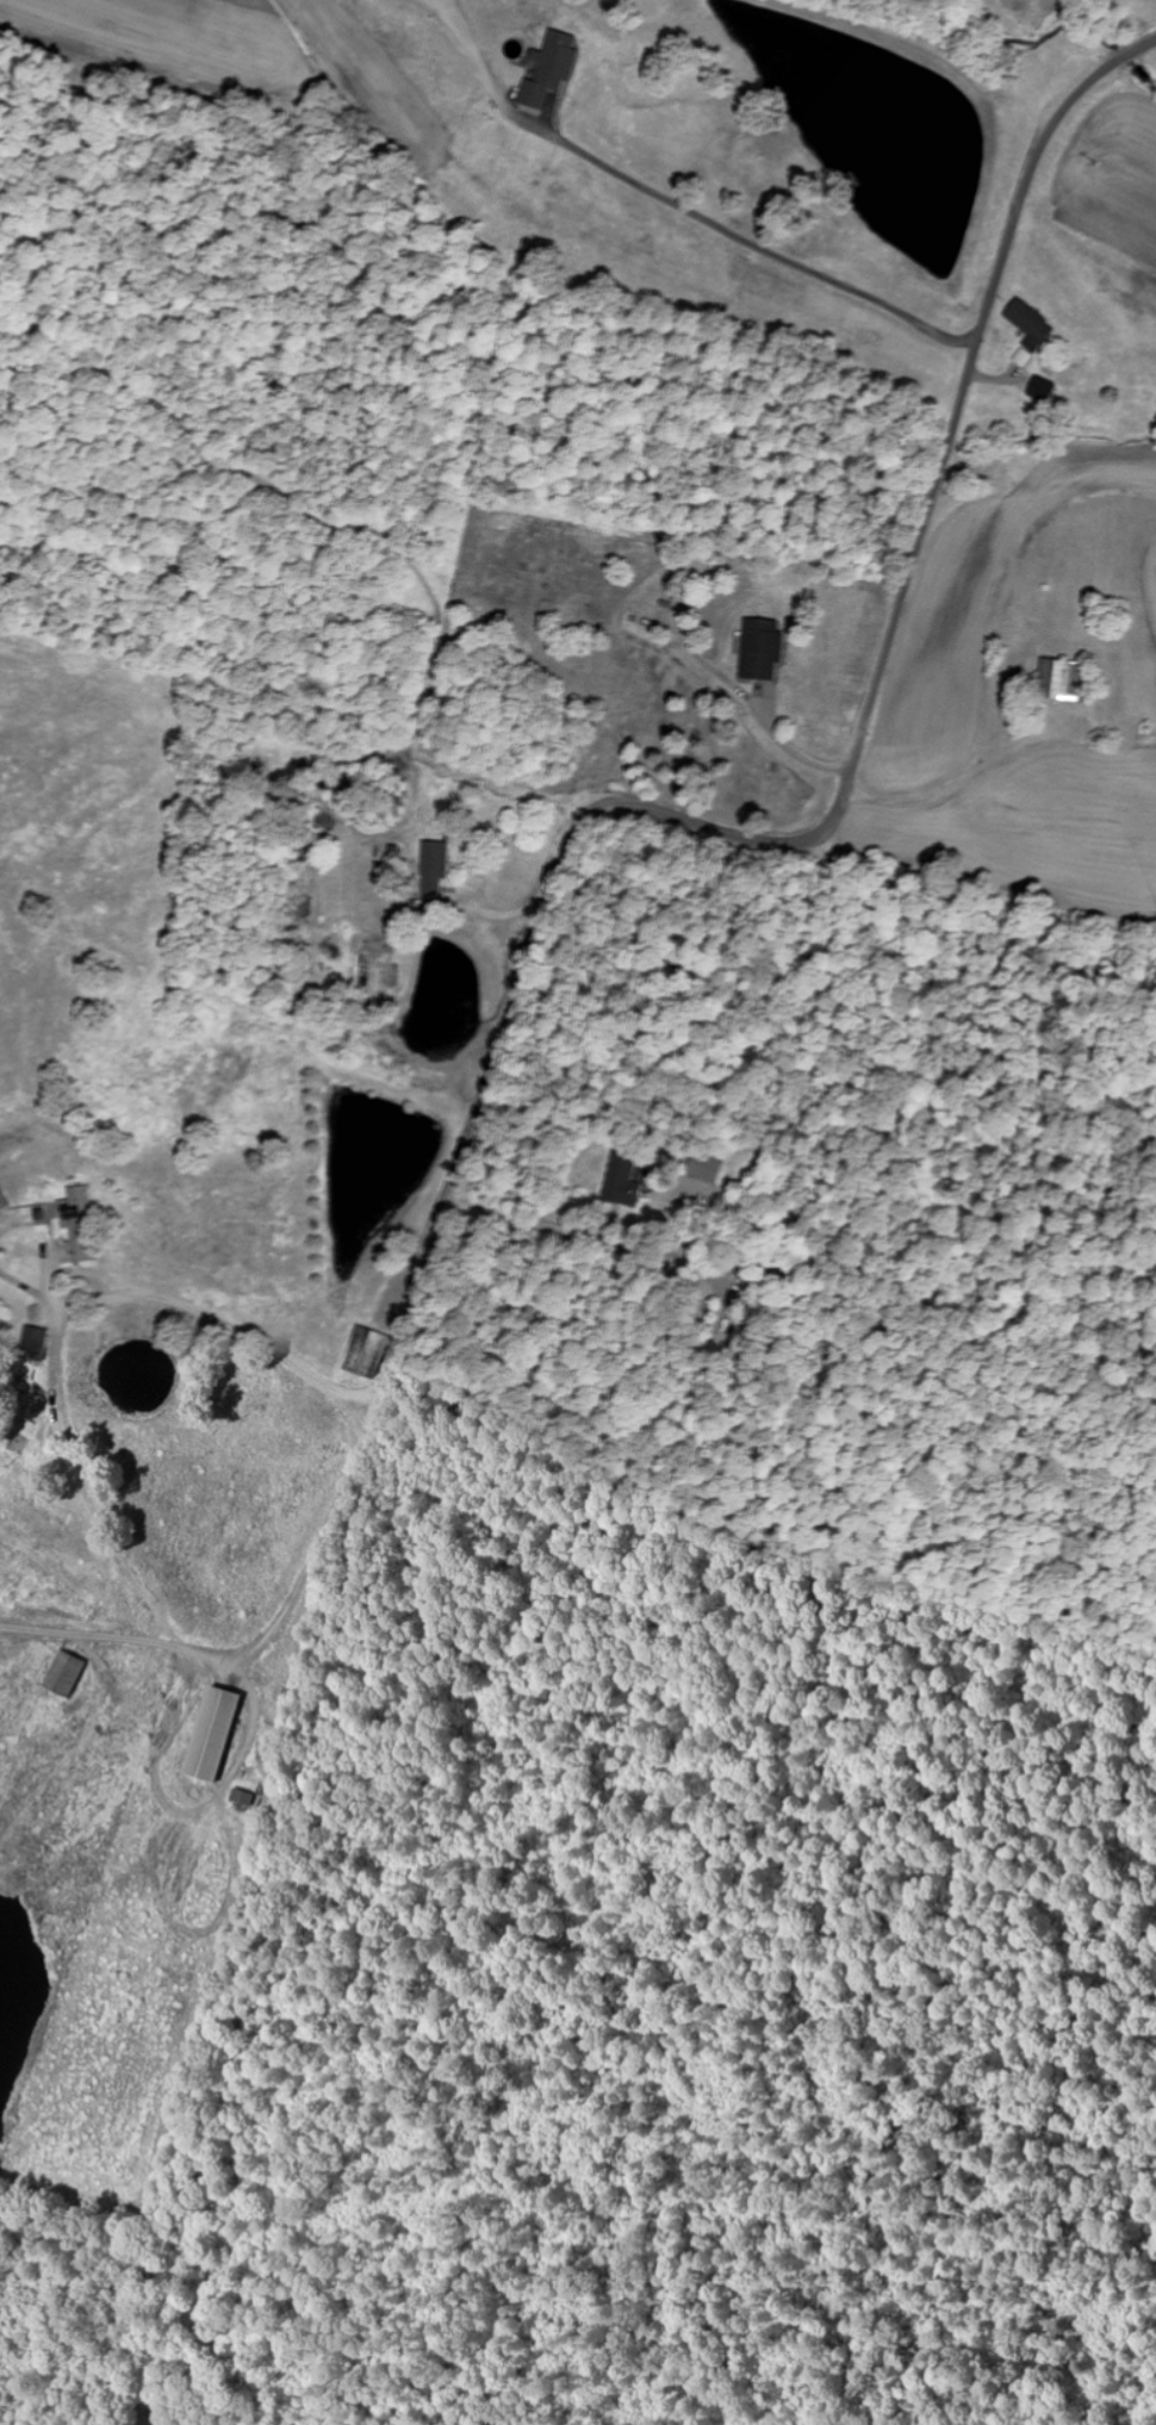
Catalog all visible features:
building: (548, 68)
road: (646, 219)
building: (1027, 329)
building: (1039, 390)
building: (760, 649)
building: (1063, 680)
road: (834, 821)
building: (434, 860)
building: (79, 1221)
road: (526, 1227)
building: (33, 1343)
building: (363, 1351)
building: (61, 1673)
building: (207, 1734)

